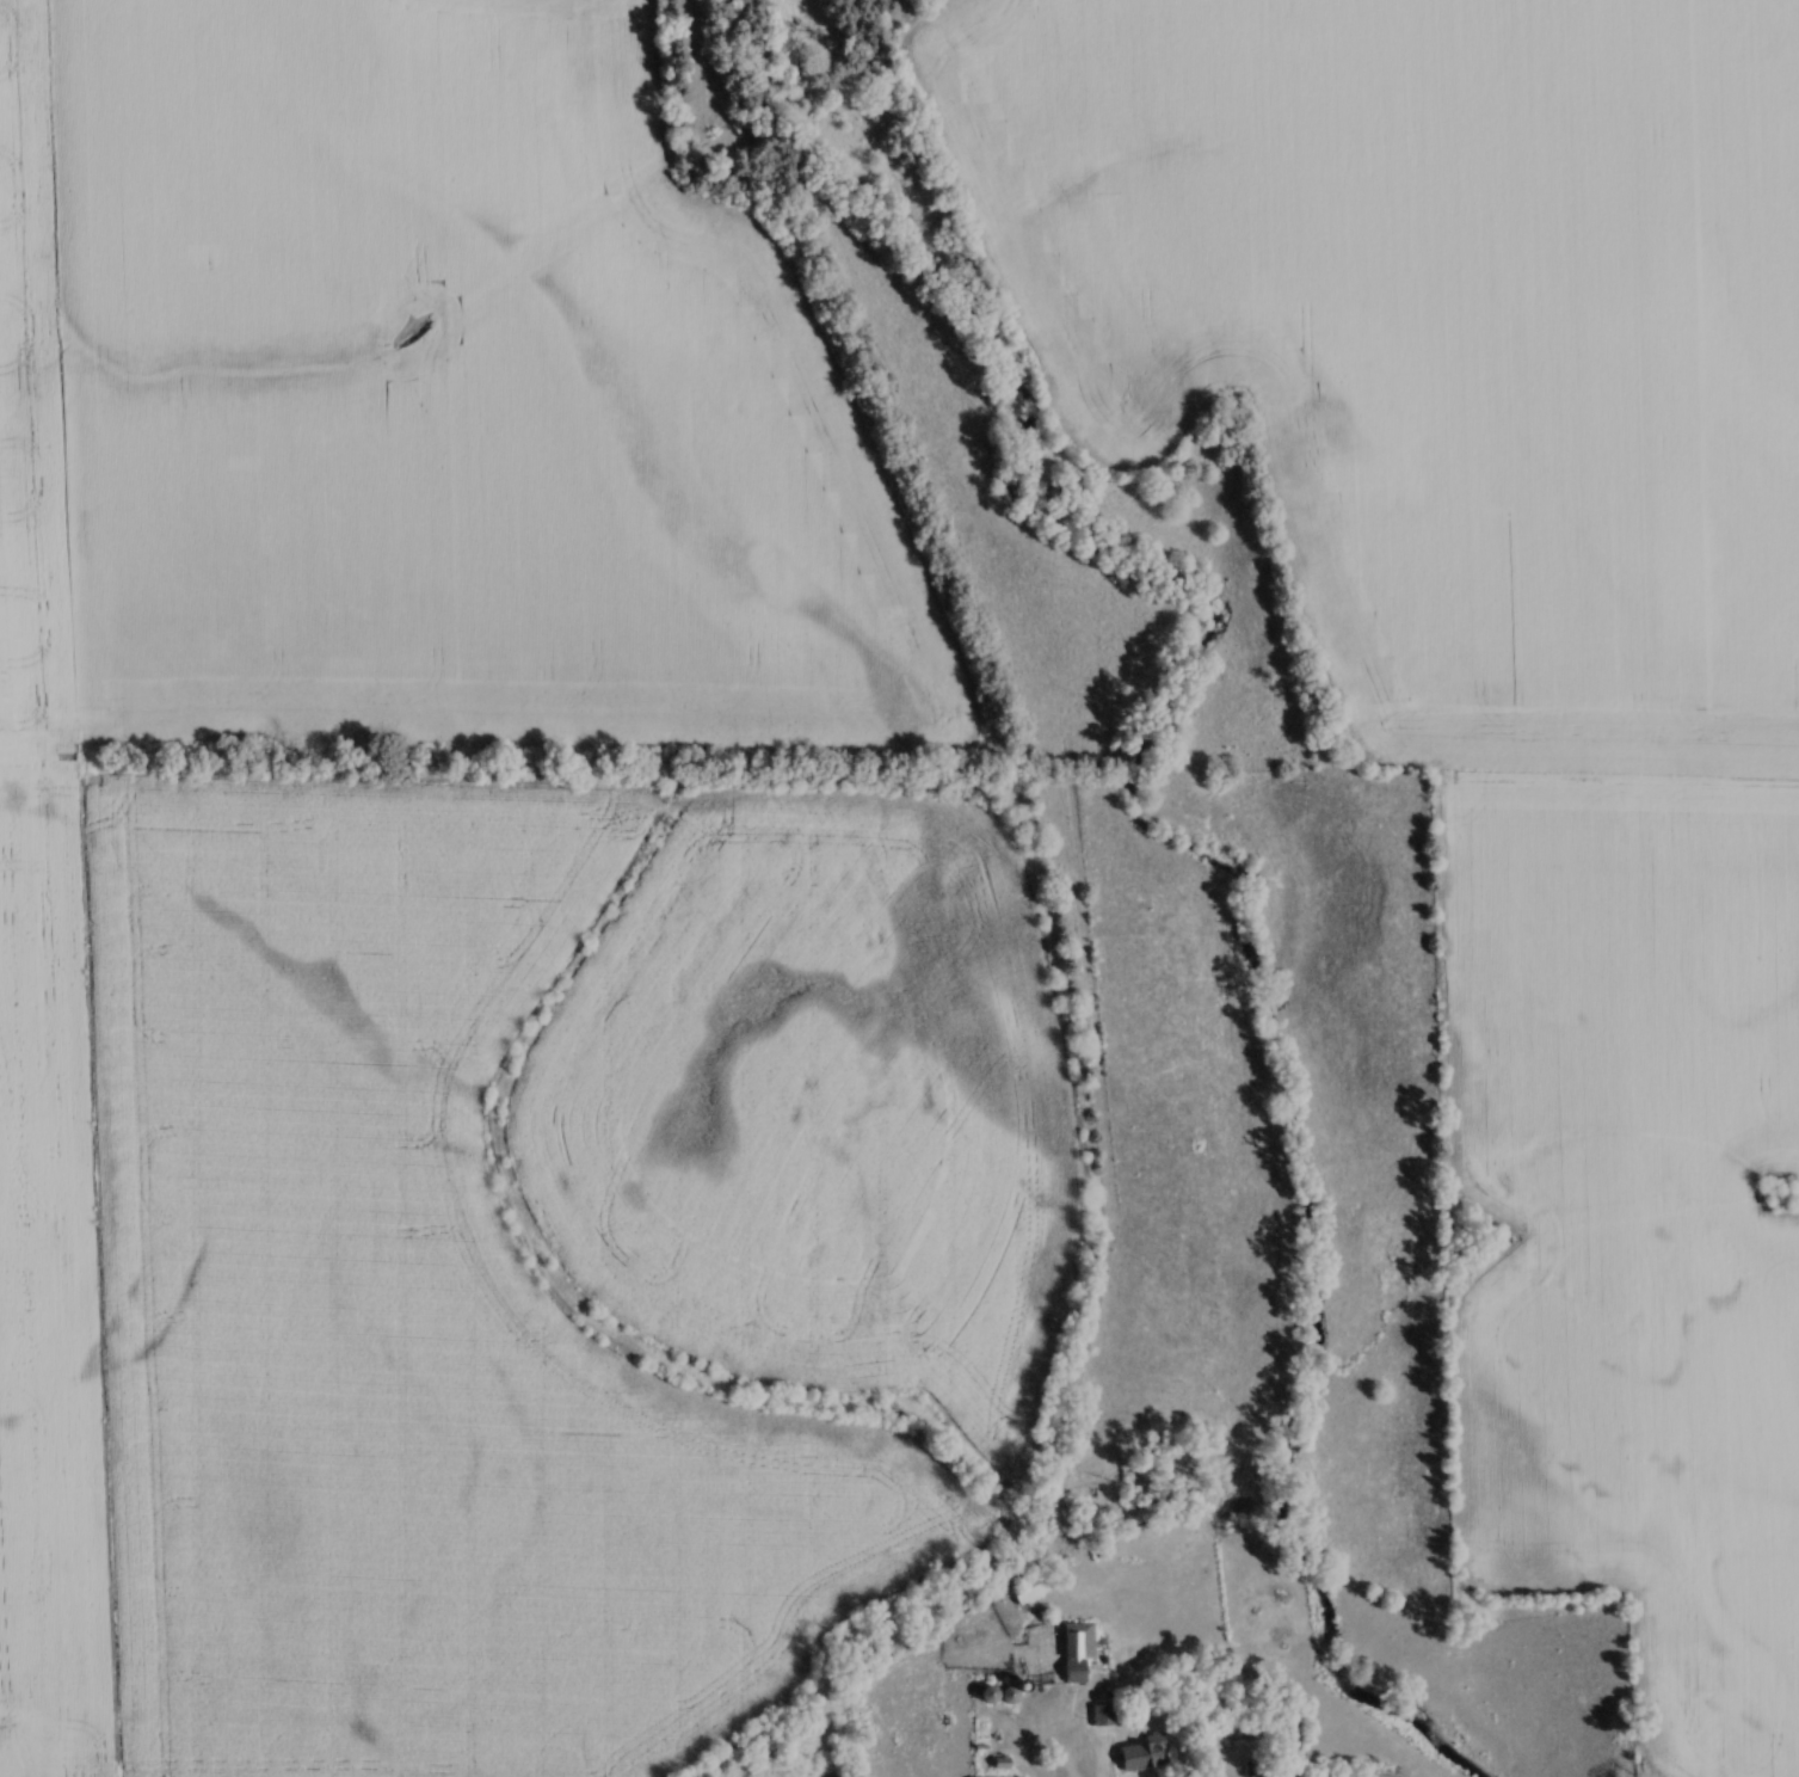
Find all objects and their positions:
building: (1036, 1586)
building: (1082, 1654)
building: (1105, 1715)
road: (1083, 1746)
building: (1145, 1758)

